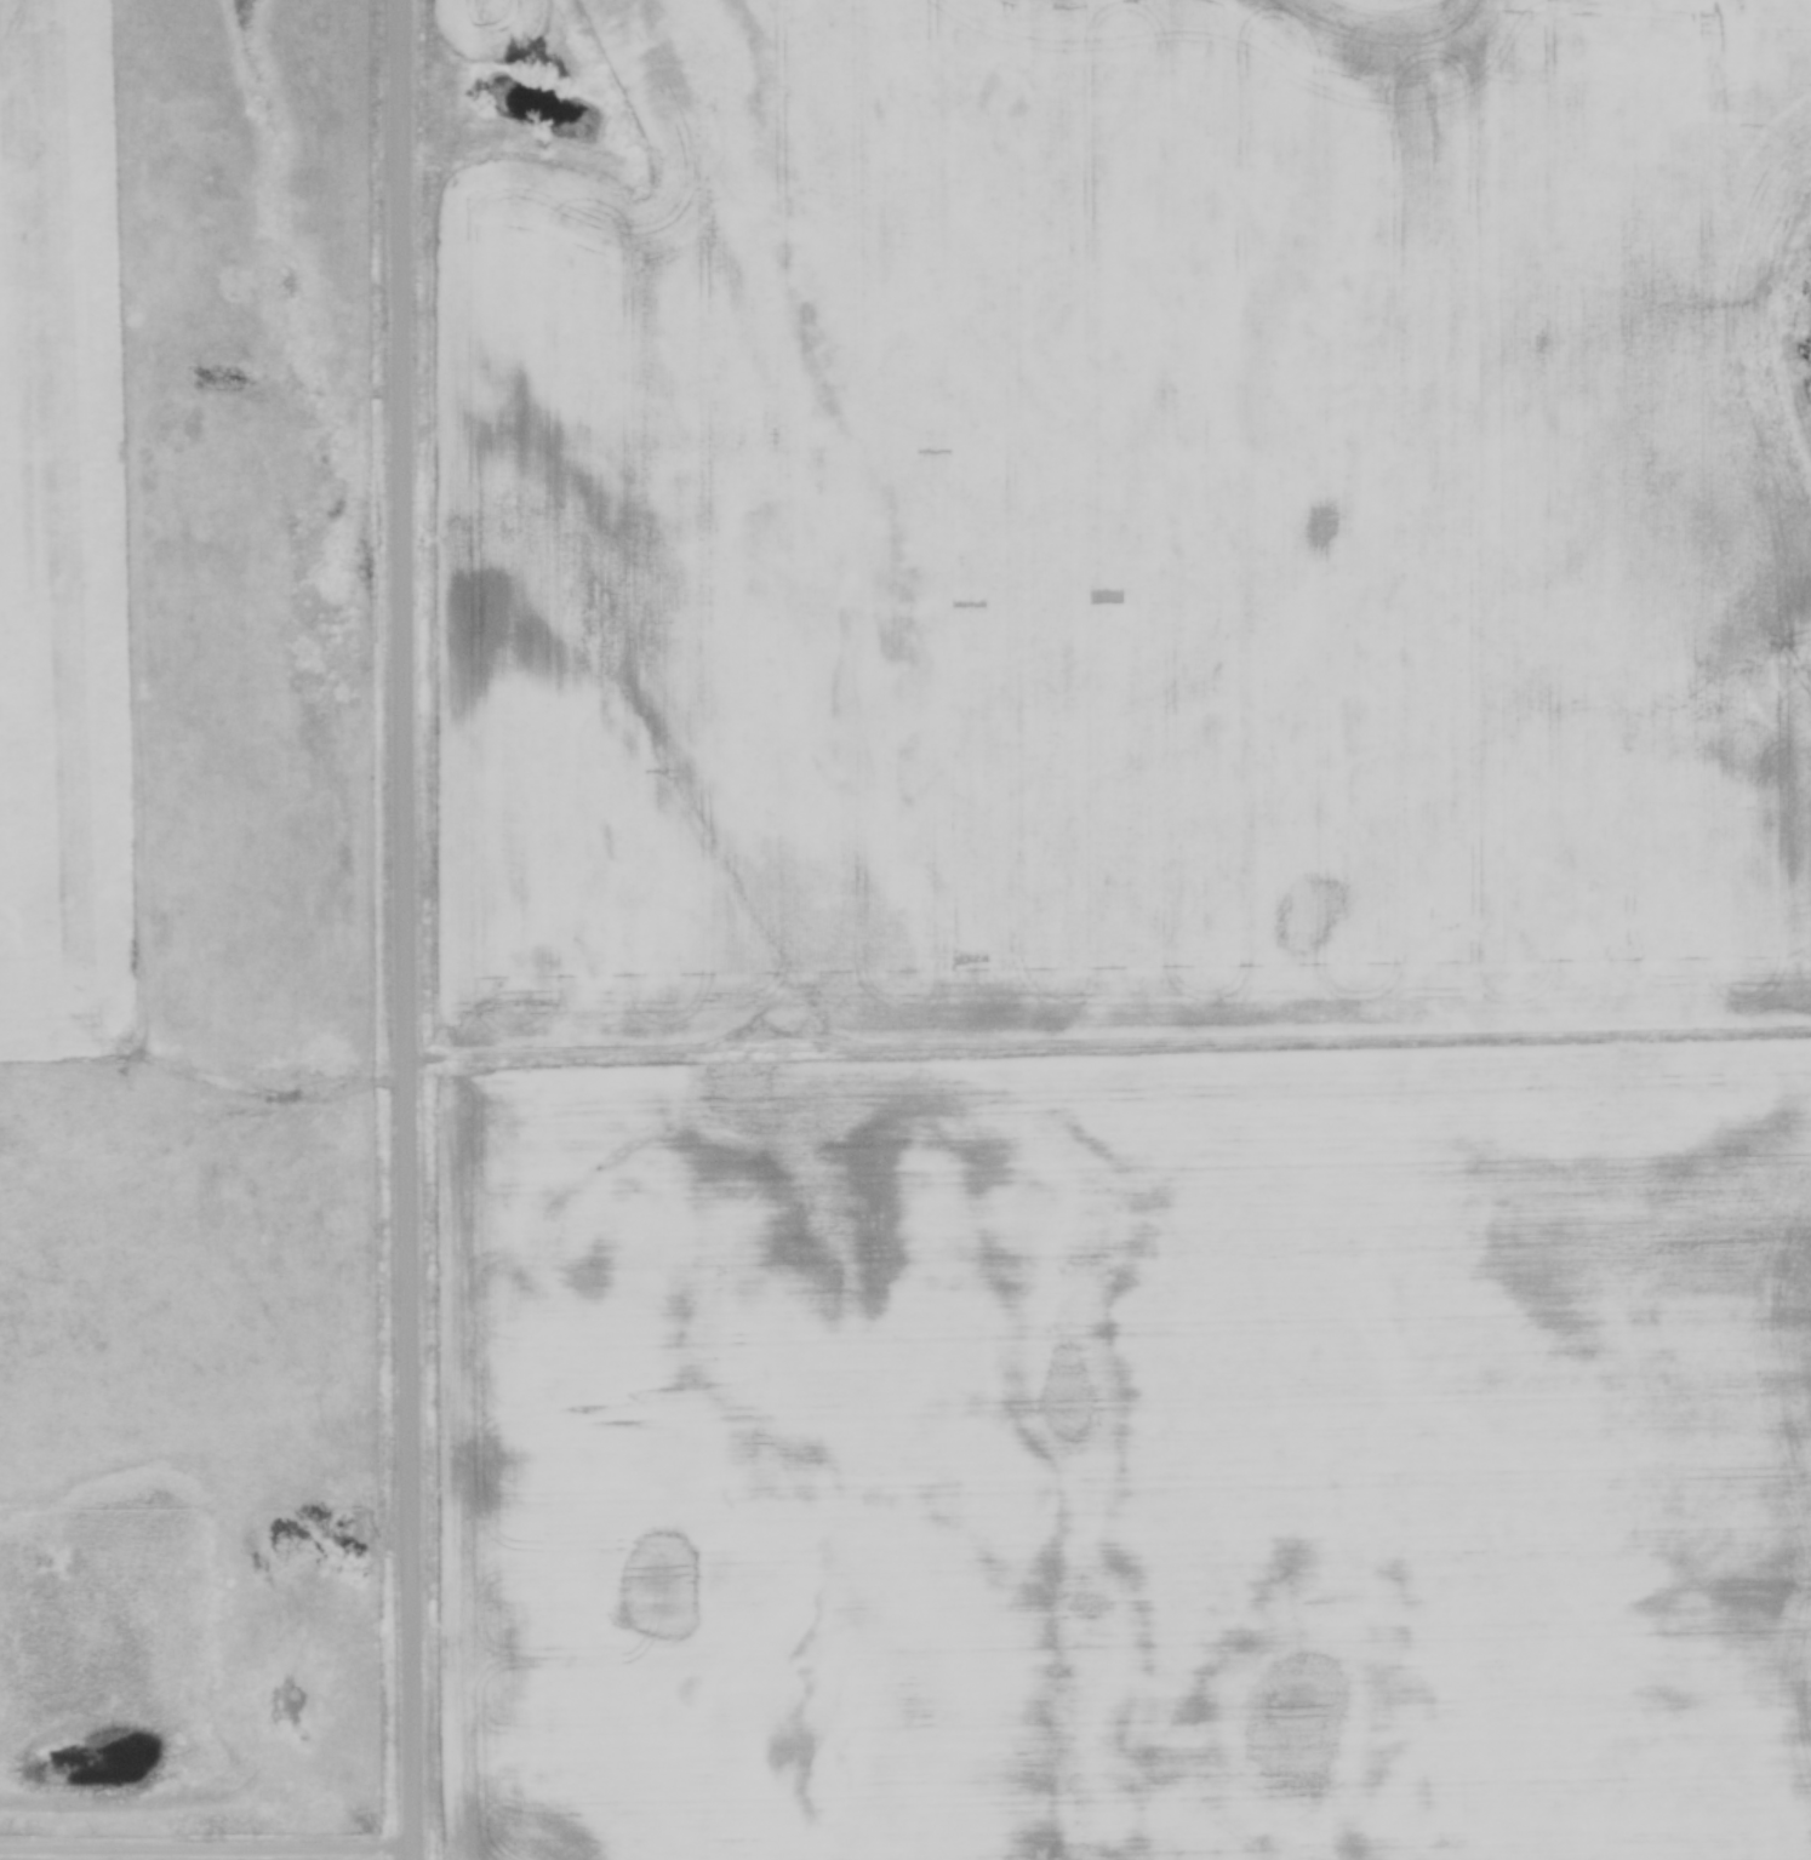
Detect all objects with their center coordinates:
road: (411, 929)

